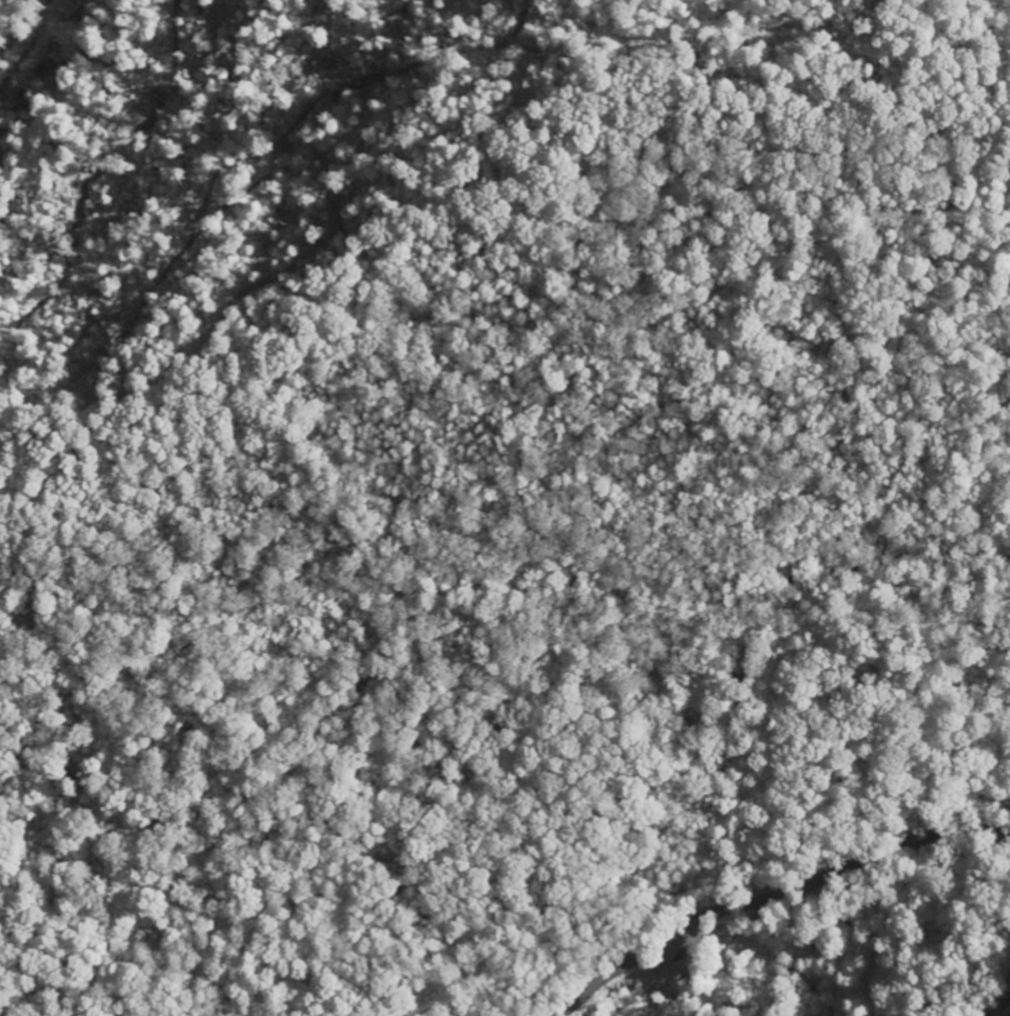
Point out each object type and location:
road: (773, 896)

